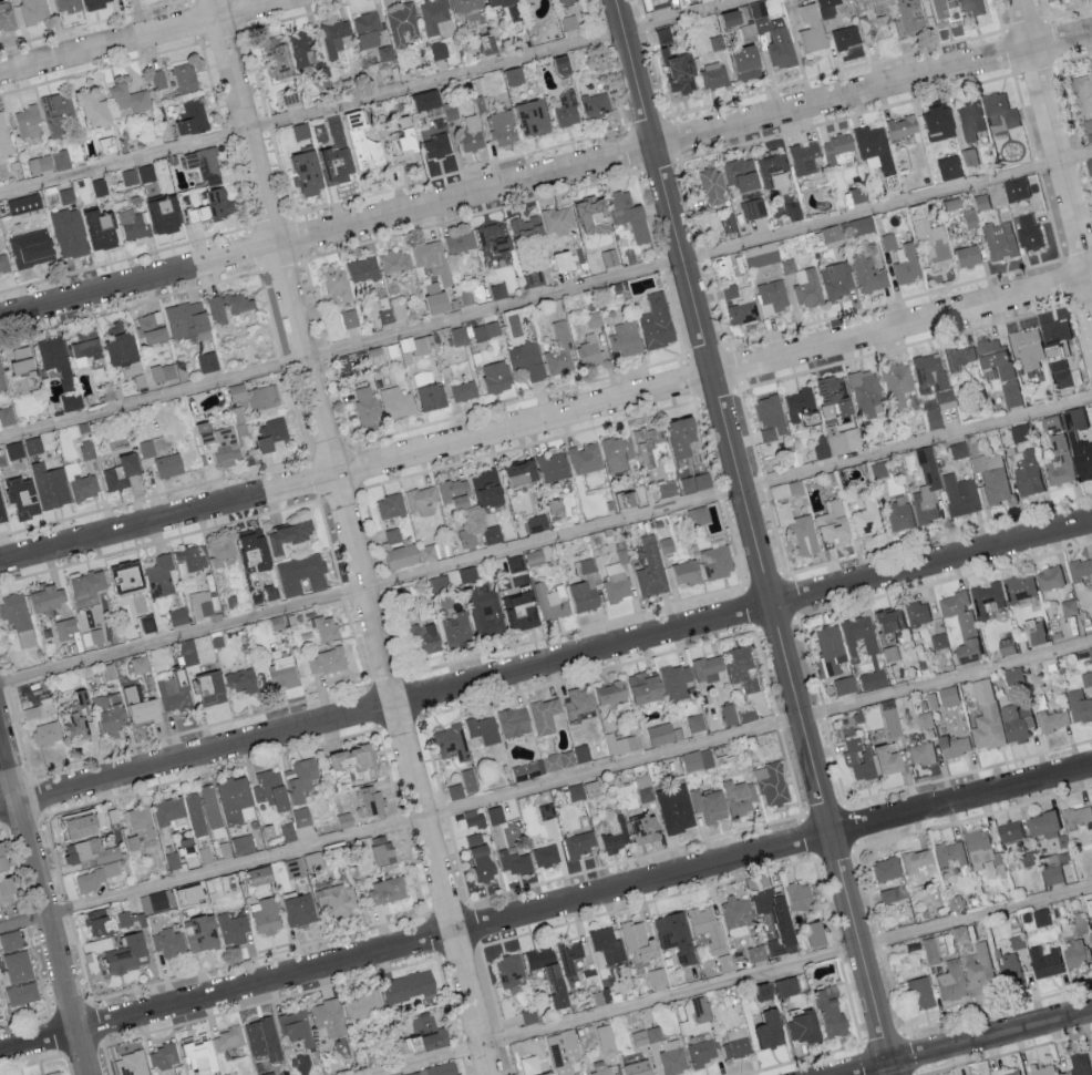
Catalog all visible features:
building: (97, 2)
building: (525, 2)
building: (69, 6)
building: (971, 7)
building: (826, 8)
building: (938, 9)
building: (34, 11)
building: (433, 14)
building: (7, 17)
building: (908, 17)
building: (722, 18)
building: (873, 18)
building: (568, 22)
building: (364, 29)
building: (399, 29)
building: (808, 29)
building: (334, 37)
building: (661, 37)
building: (844, 37)
road: (145, 38)
building: (773, 40)
building: (491, 43)
building: (480, 44)
building: (437, 50)
building: (296, 53)
building: (814, 53)
building: (740, 62)
building: (555, 65)
building: (676, 72)
building: (712, 75)
building: (511, 76)
building: (186, 78)
building: (159, 79)
building: (1082, 92)
road: (374, 98)
building: (131, 100)
building: (595, 105)
building: (97, 106)
building: (999, 107)
building: (565, 110)
building: (449, 111)
building: (59, 112)
building: (527, 117)
building: (194, 119)
building: (968, 121)
building: (29, 122)
building: (436, 123)
building: (934, 123)
building: (1088, 125)
building: (501, 127)
building: (899, 127)
building: (338, 132)
building: (470, 135)
building: (4, 139)
road: (1054, 141)
building: (107, 145)
building: (440, 145)
building: (870, 149)
building: (835, 150)
building: (969, 155)
building: (801, 157)
building: (62, 160)
building: (204, 164)
building: (340, 164)
building: (41, 165)
building: (1089, 165)
building: (771, 171)
building: (310, 173)
building: (147, 174)
building: (739, 175)
building: (131, 177)
road: (546, 178)
building: (711, 187)
building: (1016, 187)
building: (101, 188)
building: (68, 196)
building: (27, 204)
building: (947, 204)
building: (213, 207)
building: (752, 208)
building: (588, 209)
building: (627, 215)
building: (167, 216)
building: (559, 223)
building: (727, 224)
building: (134, 225)
building: (855, 227)
building: (523, 229)
building: (1027, 229)
building: (102, 231)
building: (71, 233)
building: (828, 234)
building: (493, 238)
building: (462, 240)
building: (999, 240)
building: (886, 242)
building: (930, 242)
building: (33, 248)
building: (760, 255)
building: (608, 256)
building: (965, 256)
building: (433, 258)
building: (563, 259)
building: (396, 262)
building: (4, 264)
building: (906, 265)
building: (365, 270)
building: (866, 273)
building: (532, 277)
building: (836, 278)
building: (802, 284)
building: (337, 286)
building: (498, 291)
building: (729, 291)
building: (771, 296)
road: (546, 298)
building: (439, 299)
building: (231, 309)
building: (740, 314)
building: (189, 319)
building: (350, 319)
building: (593, 319)
building: (655, 322)
building: (153, 329)
building: (487, 331)
building: (461, 336)
building: (624, 338)
building: (87, 344)
building: (1045, 350)
building: (560, 351)
building: (590, 352)
building: (993, 356)
building: (958, 357)
building: (527, 360)
building: (208, 362)
building: (25, 371)
building: (928, 371)
building: (990, 372)
building: (164, 373)
building: (2, 378)
building: (497, 378)
building: (895, 383)
building: (465, 391)
building: (1011, 393)
building: (864, 395)
building: (257, 396)
building: (831, 396)
building: (945, 399)
building: (73, 402)
building: (398, 403)
building: (368, 406)
building: (796, 407)
building: (8, 417)
building: (768, 418)
building: (931, 418)
road: (546, 421)
building: (1048, 421)
building: (1019, 431)
building: (275, 433)
building: (687, 438)
building: (222, 443)
building: (833, 444)
building: (1078, 444)
building: (34, 447)
building: (154, 447)
building: (653, 448)
building: (89, 450)
building: (16, 451)
building: (957, 451)
building: (619, 452)
building: (587, 459)
building: (1058, 461)
building: (171, 465)
building: (555, 468)
building: (878, 470)
building: (123, 472)
building: (525, 472)
building: (1028, 472)
building: (991, 478)
building: (698, 483)
building: (51, 487)
building: (85, 487)
building: (926, 487)
building: (490, 489)
building: (669, 490)
building: (848, 493)
building: (457, 494)
building: (960, 494)
building: (422, 498)
building: (25, 499)
building: (392, 508)
building: (2, 509)
building: (898, 514)
building: (865, 518)
building: (539, 523)
building: (831, 526)
building: (797, 532)
building: (494, 535)
building: (291, 536)
road: (351, 536)
building: (394, 537)
building: (470, 537)
road: (753, 537)
road: (545, 541)
building: (668, 546)
building: (258, 549)
building: (431, 553)
building: (225, 554)
building: (404, 556)
building: (194, 557)
building: (537, 557)
building: (719, 563)
building: (585, 566)
building: (652, 569)
building: (1079, 569)
building: (689, 572)
building: (303, 574)
building: (163, 577)
building: (1048, 577)
building: (130, 579)
building: (441, 583)
building: (617, 583)
building: (91, 584)
building: (1018, 586)
building: (585, 597)
building: (987, 598)
building: (50, 600)
building: (552, 602)
building: (202, 605)
building: (1069, 606)
building: (523, 612)
building: (486, 613)
building: (917, 613)
building: (179, 617)
building: (20, 618)
building: (888, 621)
building: (961, 625)
building: (327, 628)
building: (457, 628)
building: (1032, 631)
building: (859, 636)
building: (425, 638)
building: (939, 639)
building: (1005, 645)
building: (831, 648)
building: (190, 653)
building: (890, 653)
building: (1090, 653)
building: (327, 662)
building: (142, 665)
road: (545, 665)
building: (710, 668)
building: (742, 668)
building: (282, 673)
building: (1012, 675)
building: (1086, 678)
building: (872, 680)
building: (243, 682)
building: (678, 682)
building: (843, 686)
building: (648, 687)
building: (215, 688)
building: (177, 692)
building: (614, 693)
building: (132, 695)
building: (948, 696)
building: (580, 703)
building: (1079, 706)
building: (113, 713)
building: (146, 713)
building: (738, 715)
building: (548, 716)
building: (986, 716)
building: (889, 718)
building: (925, 719)
building: (1052, 719)
building: (515, 723)
building: (44, 724)
building: (697, 724)
building: (1012, 724)
building: (76, 728)
building: (485, 730)
building: (662, 735)
building: (452, 744)
building: (622, 745)
building: (952, 746)
building: (584, 754)
building: (920, 754)
building: (883, 759)
building: (358, 760)
building: (699, 760)
building: (857, 760)
building: (559, 761)
building: (529, 770)
building: (305, 780)
road: (544, 784)
building: (774, 785)
building: (272, 790)
building: (585, 791)
building: (457, 792)
building: (742, 797)
building: (237, 801)
building: (372, 801)
building: (711, 806)
building: (677, 809)
building: (204, 811)
building: (548, 811)
building: (169, 812)
building: (1078, 815)
building: (497, 816)
building: (112, 817)
building: (303, 817)
building: (142, 820)
building: (1042, 825)
building: (79, 826)
building: (647, 829)
building: (1008, 830)
building: (616, 835)
building: (581, 844)
building: (244, 846)
building: (979, 849)
building: (95, 850)
building: (385, 853)
building: (949, 853)
building: (547, 856)
building: (483, 858)
building: (4, 859)
building: (915, 860)
building: (174, 861)
building: (516, 862)
building: (884, 870)
building: (1051, 874)
building: (264, 876)
building: (95, 878)
building: (229, 882)
building: (389, 891)
building: (8, 892)
building: (192, 894)
building: (892, 894)
building: (803, 897)
road: (44, 900)
building: (159, 901)
building: (338, 901)
building: (302, 911)
road: (545, 911)
building: (739, 915)
building: (779, 915)
building: (268, 917)
building: (1040, 917)
building: (125, 920)
building: (103, 922)
building: (1091, 923)
building: (233, 929)
building: (203, 933)
building: (691, 933)
building: (959, 933)
building: (818, 934)
building: (1017, 940)
building: (11, 941)
building: (641, 942)
building: (171, 943)
building: (608, 944)
building: (929, 951)
building: (759, 953)
building: (1075, 953)
building: (131, 954)
building: (570, 958)
building: (1044, 962)
building: (19, 967)
building: (1010, 969)
building: (513, 971)
building: (550, 973)
building: (966, 973)
building: (659, 977)
road: (736, 981)
building: (411, 987)
building: (787, 987)
building: (766, 992)
building: (919, 992)
building: (23, 994)
building: (368, 1004)
building: (833, 1015)
building: (330, 1018)
building: (298, 1028)
building: (806, 1030)
building: (773, 1031)
building: (262, 1035)
building: (648, 1036)
building: (228, 1038)
building: (607, 1040)
building: (738, 1044)
road: (976, 1044)
building: (198, 1050)
building: (565, 1052)
building: (703, 1053)
building: (165, 1056)
building: (674, 1057)
building: (1079, 1063)
building: (132, 1065)
building: (532, 1067)
building: (640, 1068)
building: (1042, 1069)
building: (440, 1071)
building: (605, 1072)
building: (56, 1073)
building: (550, 1074)
building: (981, 1074)

